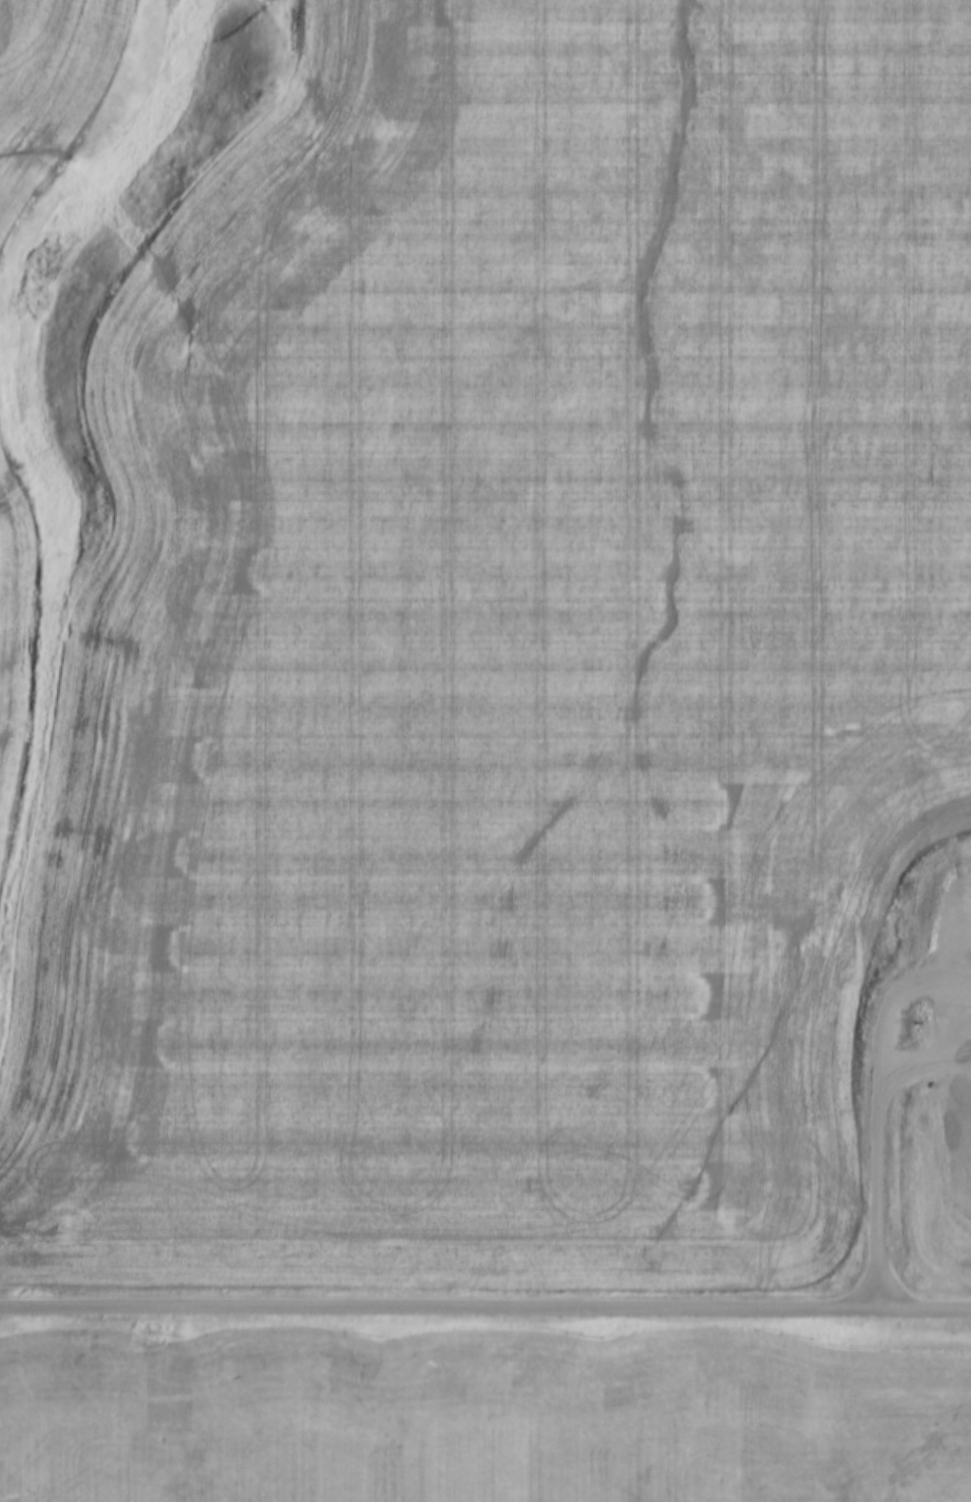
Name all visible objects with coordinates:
road: (485, 1307)

